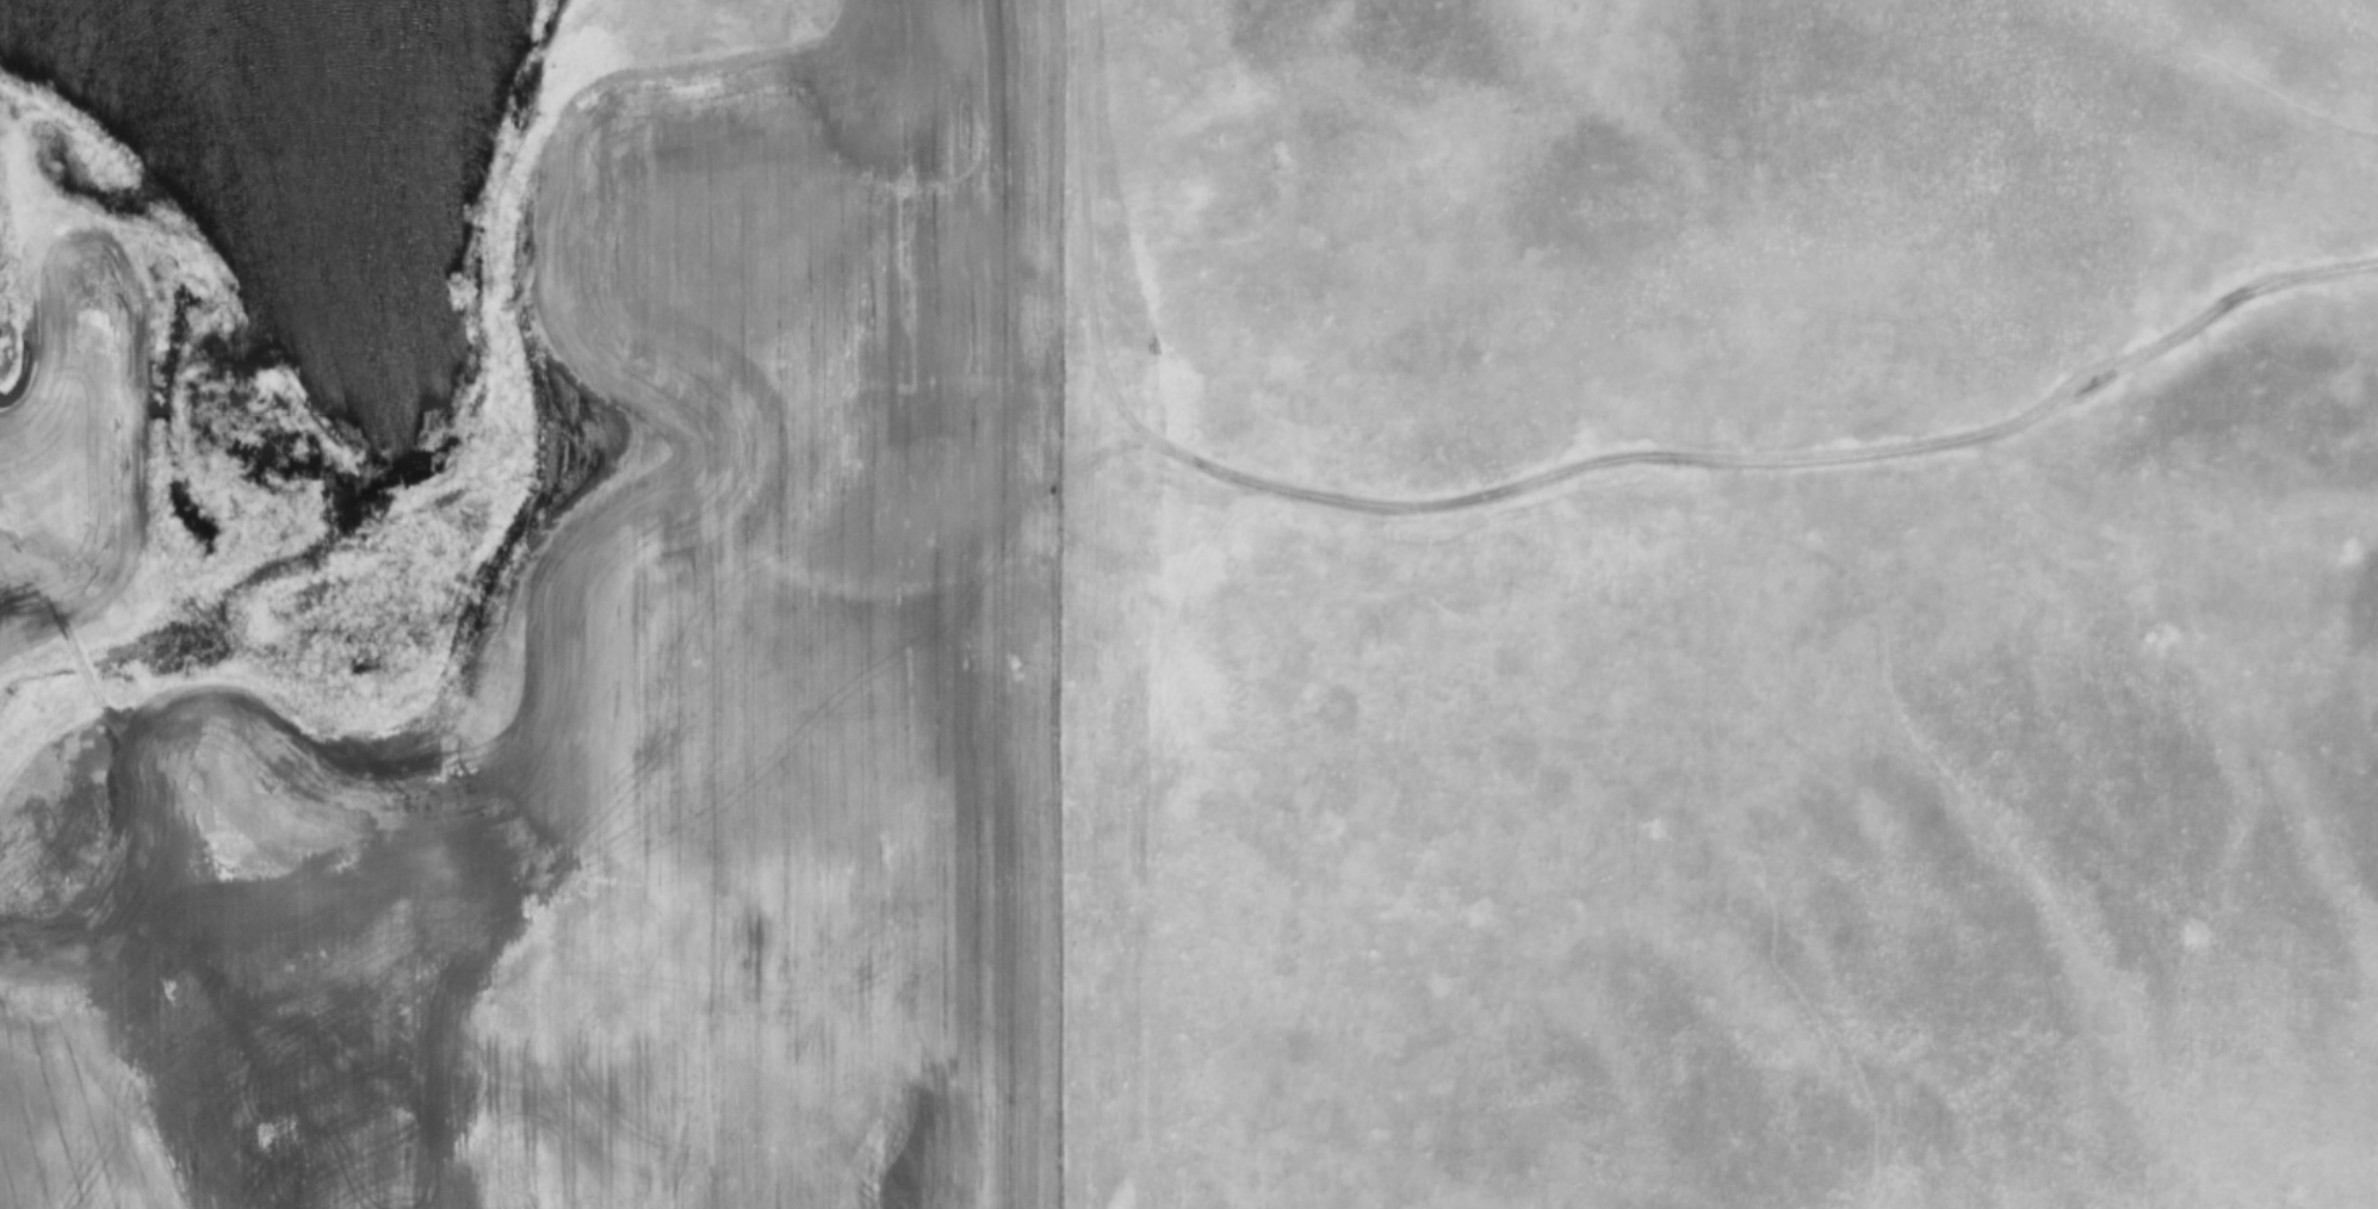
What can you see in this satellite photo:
road: (413, 480)

